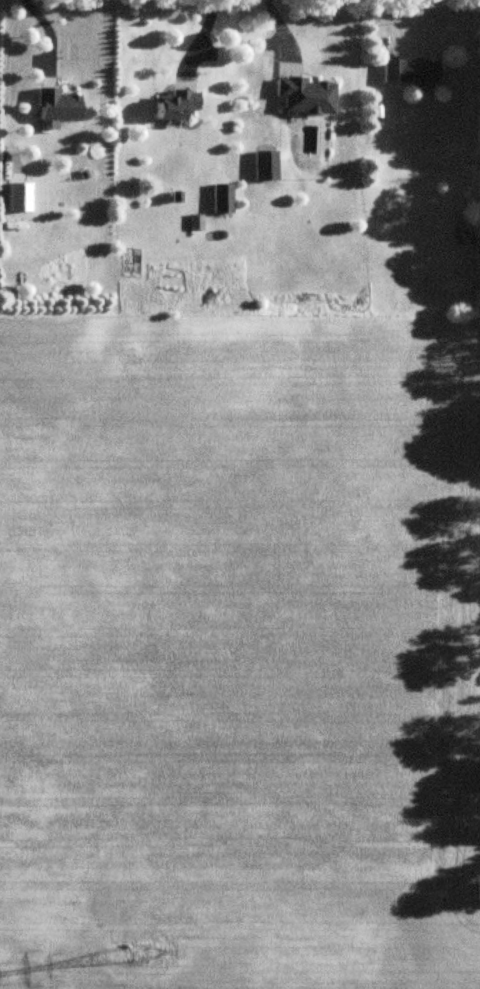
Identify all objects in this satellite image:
road: (46, 29)
road: (282, 32)
road: (199, 37)
building: (410, 73)
building: (306, 97)
building: (176, 106)
building: (56, 107)
building: (266, 166)
building: (223, 201)
power tower: (142, 952)

